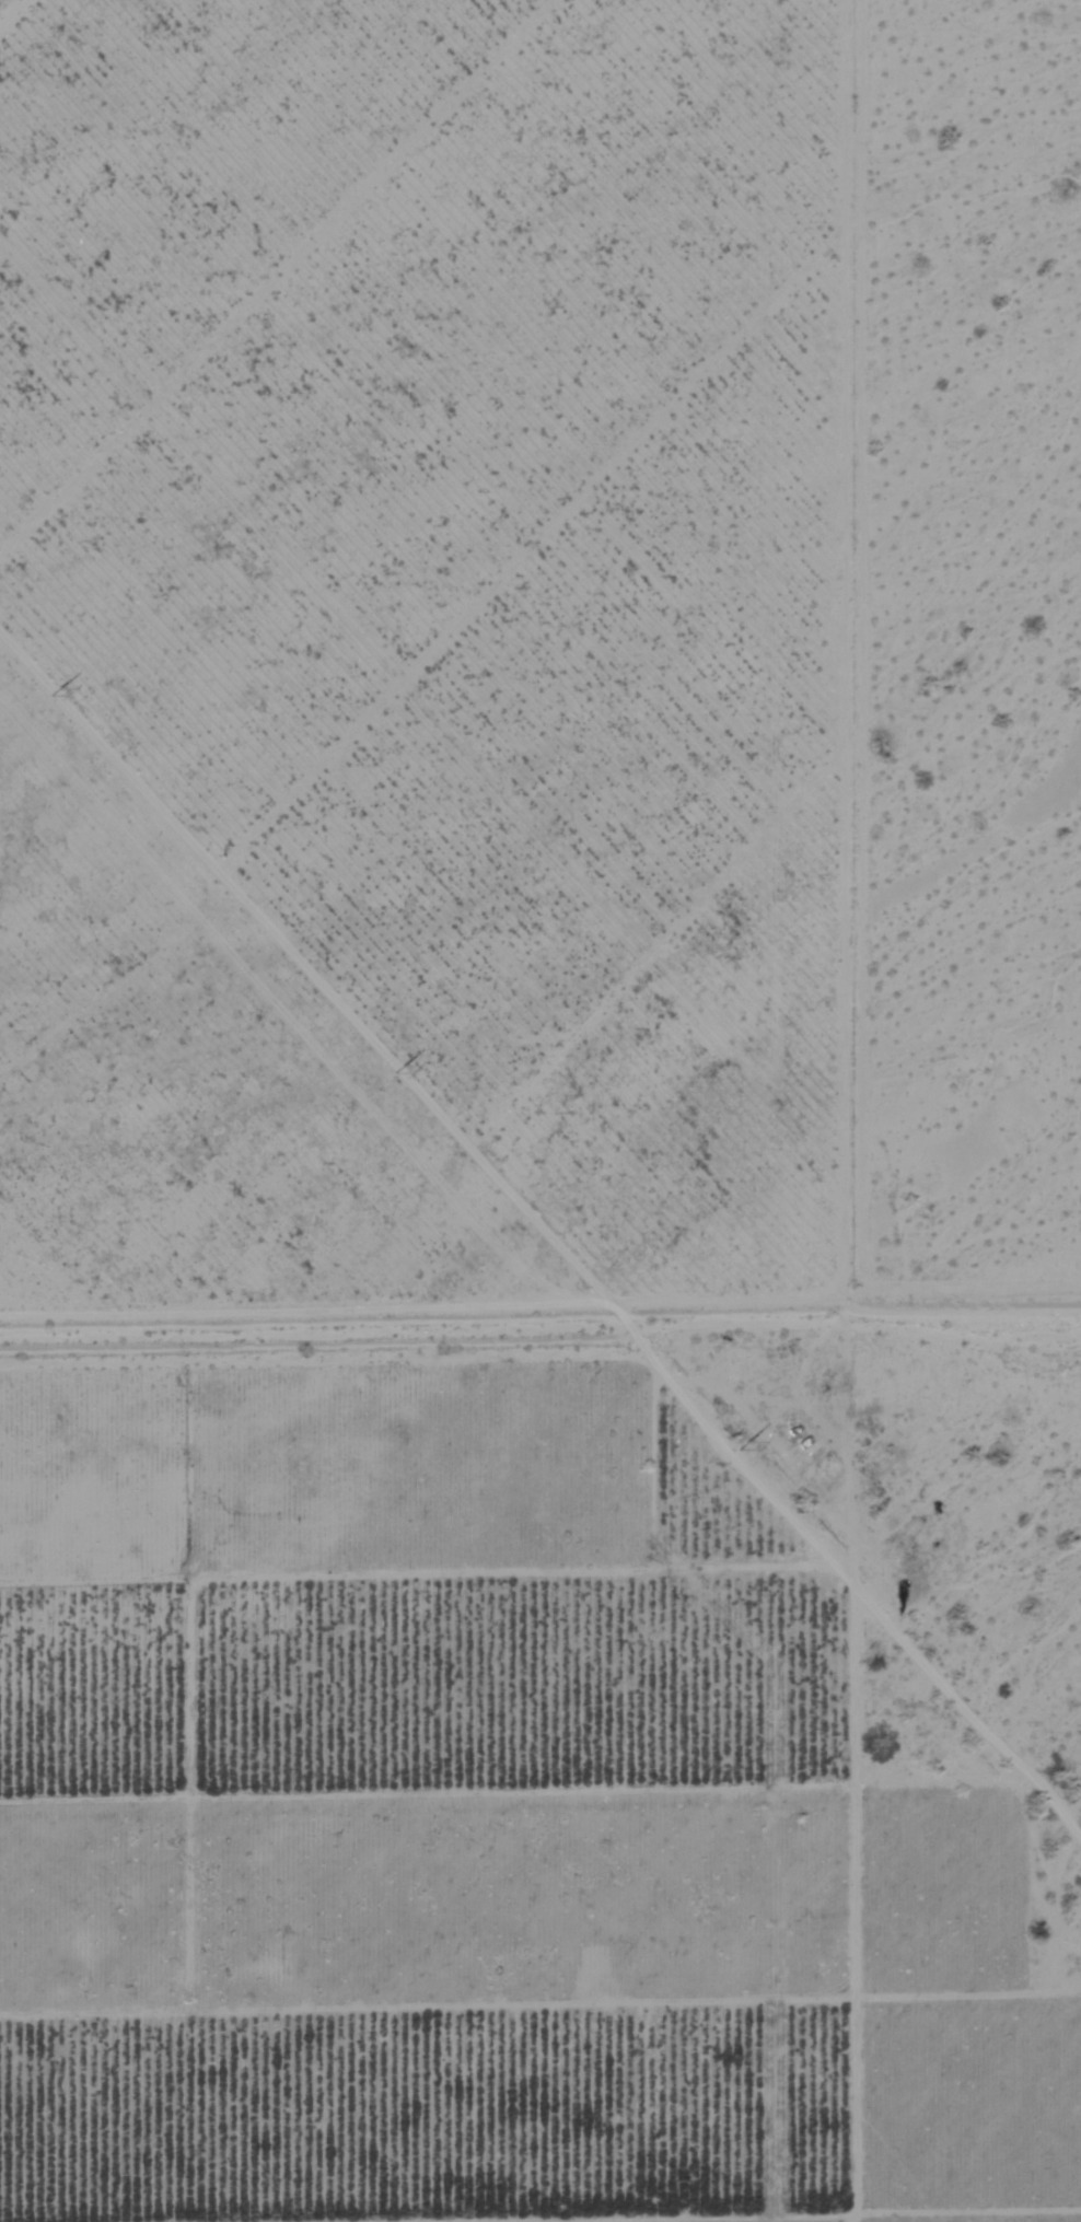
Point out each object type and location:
power tower: (63, 689)
power tower: (405, 1063)
power tower: (755, 1450)

